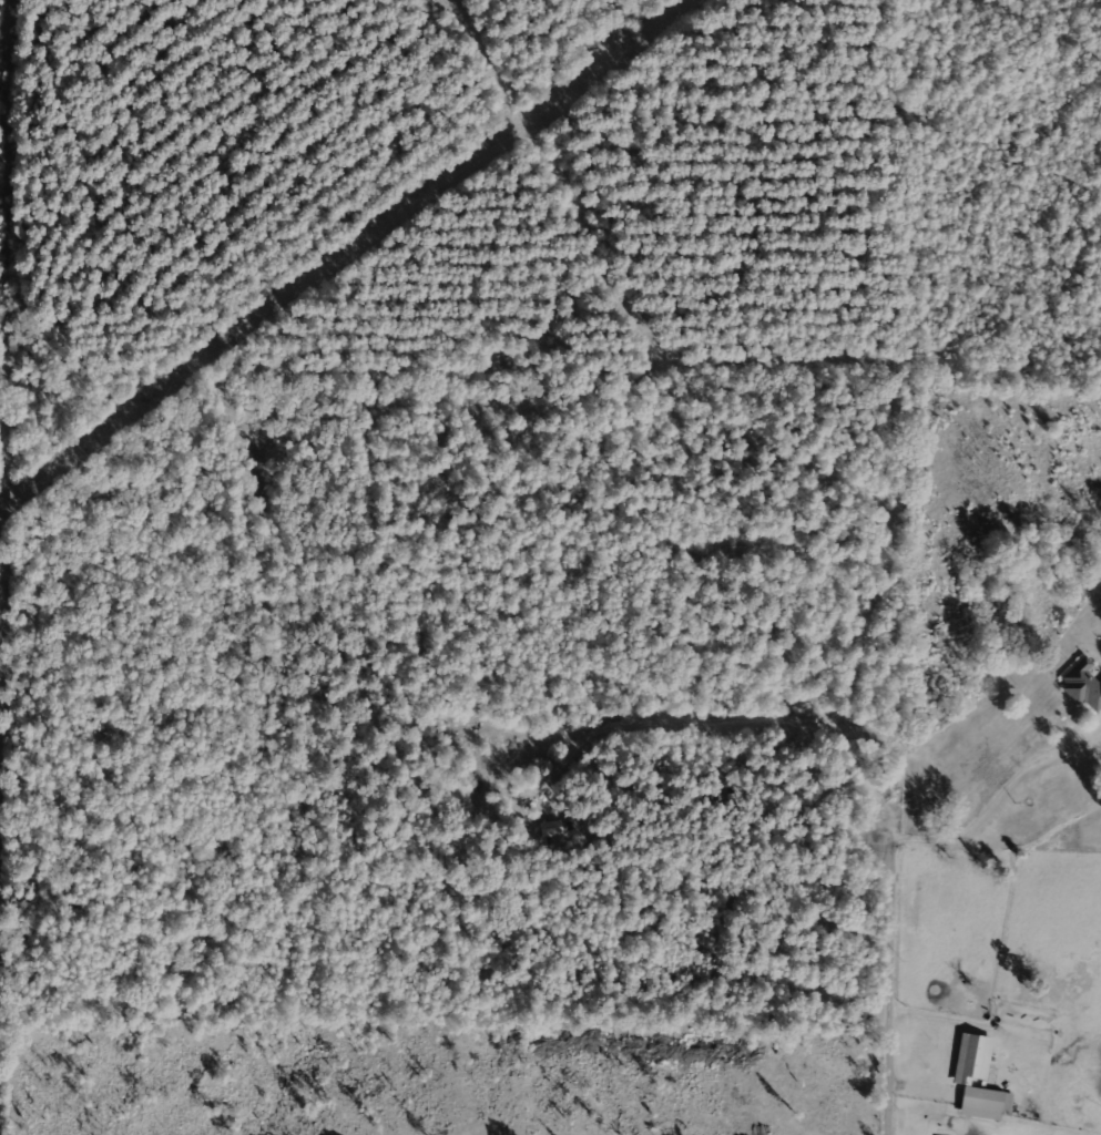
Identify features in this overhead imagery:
building: (1083, 685)
road: (898, 981)
road: (1011, 1023)
building: (973, 1057)

